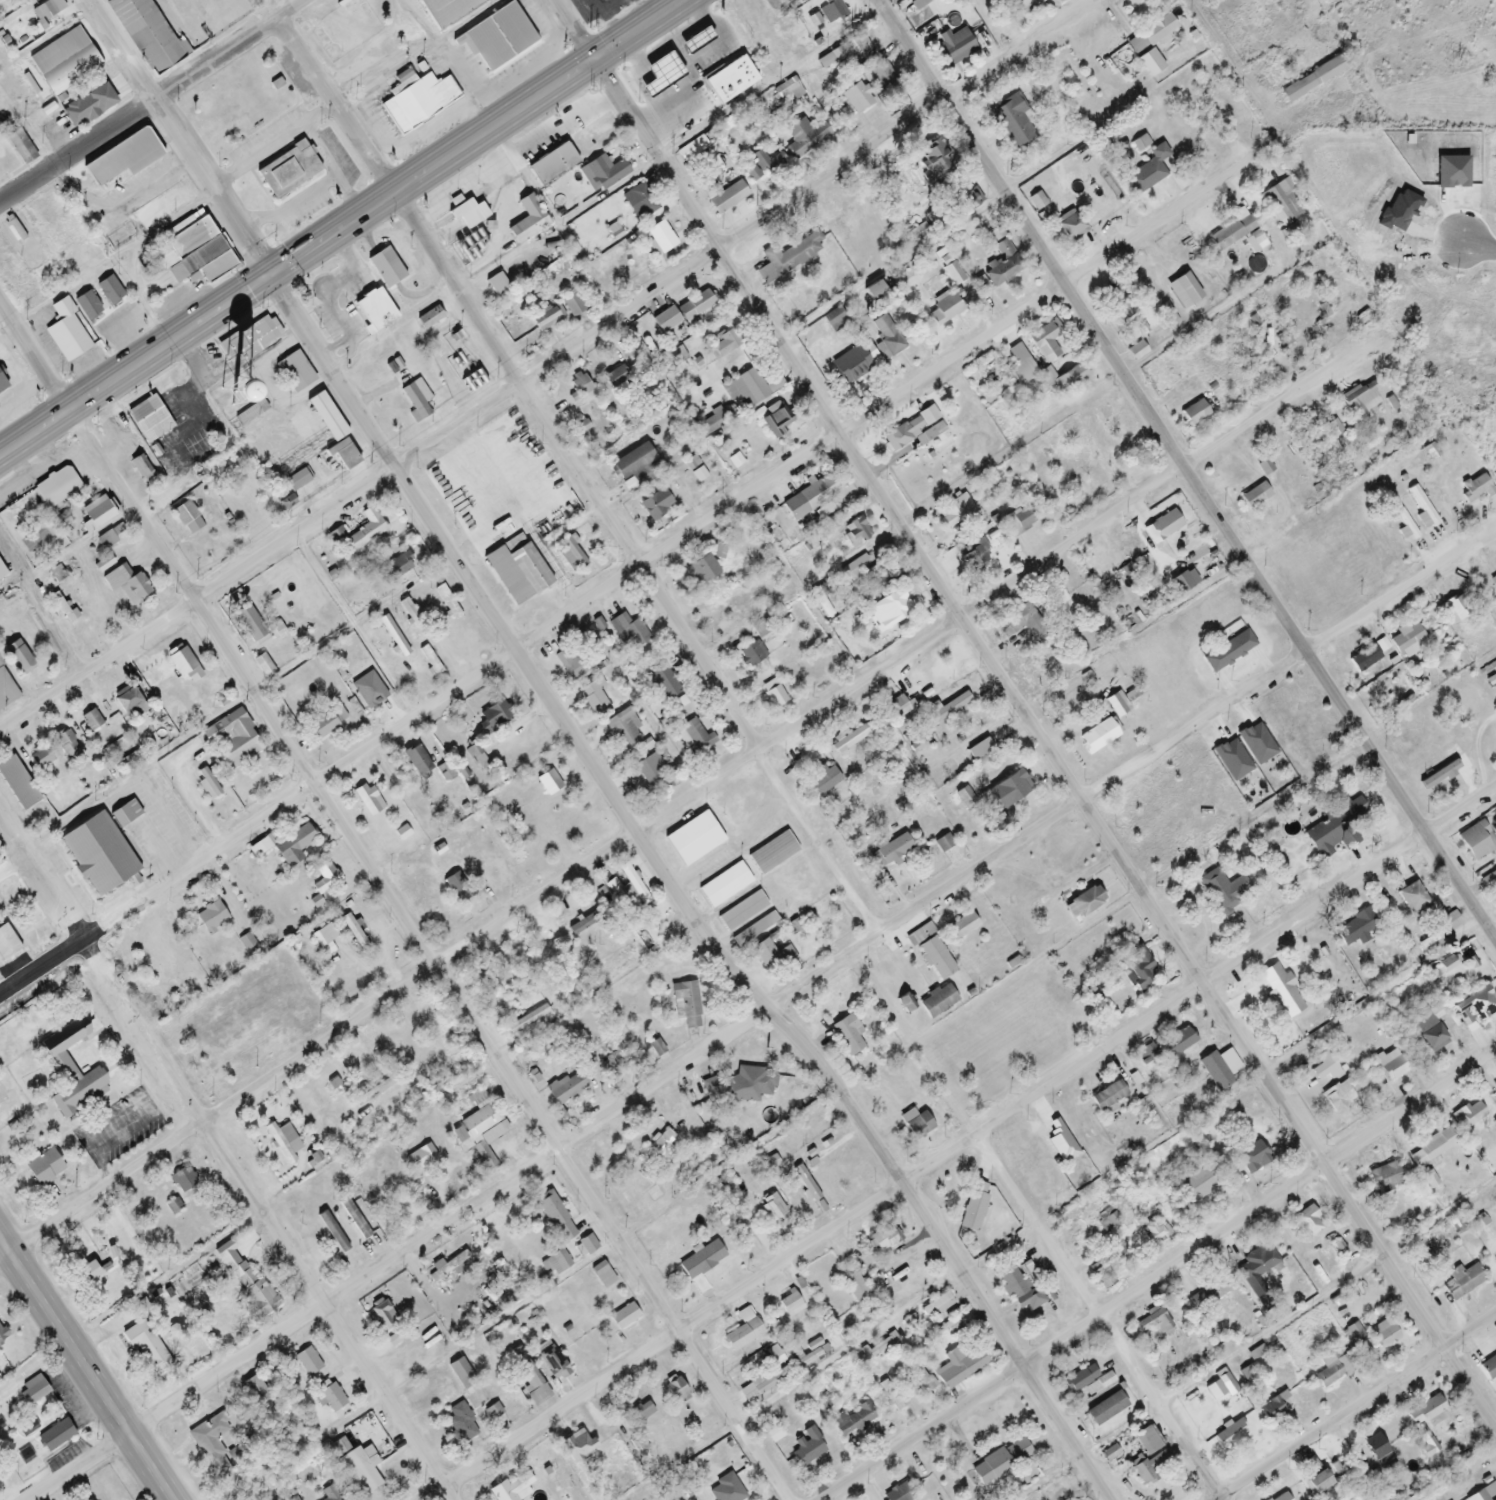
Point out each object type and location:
building: (797, 0)
building: (1028, 2)
building: (917, 4)
building: (447, 9)
building: (46, 10)
building: (830, 10)
building: (147, 35)
building: (497, 38)
building: (1149, 43)
building: (954, 47)
building: (861, 48)
building: (829, 59)
building: (64, 62)
building: (654, 72)
building: (884, 79)
building: (1313, 79)
building: (855, 98)
building: (416, 99)
road: (152, 101)
building: (90, 103)
building: (1217, 105)
building: (692, 113)
building: (1011, 121)
building: (804, 136)
road: (324, 153)
road: (256, 154)
building: (122, 156)
building: (554, 163)
building: (761, 167)
building: (1149, 170)
building: (285, 172)
building: (641, 196)
building: (727, 198)
building: (1282, 203)
road: (292, 209)
building: (467, 213)
building: (527, 220)
building: (1070, 225)
road: (343, 230)
building: (919, 232)
building: (1232, 232)
road: (1477, 244)
building: (193, 255)
building: (789, 255)
building: (387, 266)
building: (1002, 266)
traffic signals: (270, 278)
building: (496, 286)
building: (1186, 289)
building: (108, 290)
building: (872, 291)
building: (1119, 301)
building: (86, 306)
building: (572, 306)
building: (374, 310)
building: (684, 310)
building: (833, 318)
building: (546, 320)
building: (1299, 326)
building: (65, 332)
building: (886, 335)
building: (250, 339)
building: (724, 342)
building: (1045, 342)
building: (1136, 351)
road: (544, 360)
building: (1019, 365)
building: (295, 370)
building: (1064, 378)
building: (753, 388)
water tower: (227, 393)
building: (416, 401)
building: (1360, 401)
building: (253, 411)
building: (1194, 413)
building: (323, 414)
road: (359, 416)
building: (150, 417)
building: (773, 421)
building: (913, 431)
building: (495, 432)
building: (634, 469)
road: (1187, 471)
building: (544, 478)
road: (577, 478)
building: (296, 481)
building: (55, 487)
building: (1474, 489)
building: (1254, 497)
building: (809, 499)
building: (655, 505)
building: (1421, 510)
building: (953, 512)
building: (98, 516)
building: (186, 518)
building: (1018, 520)
building: (1405, 525)
building: (1162, 527)
building: (362, 532)
building: (855, 534)
building: (105, 540)
building: (976, 554)
building: (1100, 562)
building: (699, 570)
building: (503, 573)
road: (625, 574)
building: (1, 575)
building: (860, 579)
building: (1493, 581)
building: (126, 584)
building: (1055, 594)
road: (40, 602)
building: (446, 603)
building: (890, 608)
building: (1453, 611)
building: (409, 612)
road: (352, 623)
building: (248, 624)
building: (627, 633)
building: (1406, 640)
building: (1229, 652)
building: (750, 654)
building: (1363, 658)
building: (573, 659)
building: (180, 662)
building: (263, 666)
building: (665, 683)
building: (6, 692)
building: (772, 694)
building: (593, 697)
building: (683, 701)
building: (128, 703)
building: (1117, 705)
building: (897, 707)
building: (948, 708)
road: (1025, 712)
building: (325, 725)
building: (622, 730)
building: (695, 731)
building: (1313, 733)
building: (1098, 737)
building: (848, 740)
building: (235, 741)
building: (67, 746)
building: (979, 750)
building: (1452, 755)
building: (39, 758)
building: (417, 761)
building: (651, 771)
building: (822, 781)
building: (17, 783)
building: (548, 783)
building: (1003, 795)
road: (682, 798)
building: (736, 800)
building: (365, 802)
building: (121, 816)
building: (1333, 829)
building: (693, 839)
building: (1476, 841)
building: (292, 844)
building: (893, 849)
building: (772, 853)
building: (97, 854)
building: (1494, 873)
road: (701, 878)
building: (324, 880)
building: (724, 885)
building: (627, 887)
building: (1222, 892)
building: (1412, 898)
building: (1085, 902)
road: (390, 909)
building: (741, 912)
building: (960, 927)
building: (1357, 929)
building: (749, 933)
building: (357, 939)
building: (6, 944)
building: (931, 952)
building: (771, 956)
building: (1135, 969)
building: (1285, 996)
road: (1374, 1000)
building: (936, 1002)
building: (905, 1003)
building: (688, 1005)
building: (1474, 1007)
road: (752, 1020)
building: (847, 1035)
building: (1431, 1035)
building: (1174, 1046)
building: (1218, 1069)
building: (69, 1073)
building: (742, 1086)
building: (565, 1087)
building: (1107, 1096)
building: (1337, 1097)
building: (1468, 1115)
building: (915, 1124)
building: (483, 1132)
building: (283, 1141)
building: (661, 1142)
road: (959, 1145)
building: (425, 1155)
building: (1430, 1156)
road: (880, 1157)
building: (1250, 1157)
road: (223, 1158)
building: (39, 1172)
building: (1053, 1178)
building: (1384, 1178)
building: (183, 1181)
building: (1199, 1184)
building: (973, 1206)
building: (771, 1207)
building: (554, 1217)
building: (1307, 1222)
building: (1154, 1229)
building: (332, 1232)
building: (882, 1238)
building: (587, 1245)
building: (1118, 1257)
building: (701, 1260)
building: (557, 1261)
building: (1258, 1267)
building: (85, 1272)
road: (1158, 1273)
building: (1101, 1277)
building: (245, 1278)
building: (605, 1279)
building: (1461, 1281)
building: (855, 1289)
building: (1020, 1291)
road: (1326, 1294)
building: (789, 1304)
building: (935, 1306)
building: (446, 1313)
building: (383, 1315)
building: (623, 1317)
road: (1097, 1317)
building: (1150, 1322)
building: (1353, 1332)
building: (1383, 1334)
building: (1226, 1346)
building: (145, 1347)
building: (873, 1349)
building: (307, 1362)
building: (552, 1364)
building: (961, 1364)
road: (35, 1369)
road: (85, 1369)
building: (1327, 1372)
building: (460, 1373)
building: (1087, 1381)
building: (1225, 1383)
building: (529, 1384)
building: (761, 1384)
building: (253, 1390)
building: (32, 1391)
building: (676, 1391)
building: (891, 1395)
building: (329, 1398)
road: (1354, 1405)
building: (1105, 1409)
building: (1428, 1409)
building: (642, 1412)
building: (1272, 1413)
building: (852, 1420)
building: (460, 1422)
building: (1229, 1433)
building: (54, 1436)
building: (1146, 1441)
building: (210, 1443)
building: (576, 1445)
building: (804, 1449)
building: (1377, 1450)
building: (353, 1462)
building: (1000, 1462)
building: (1148, 1467)
building: (1315, 1481)
building: (510, 1486)
building: (725, 1489)
building: (900, 1493)
building: (1281, 1497)

